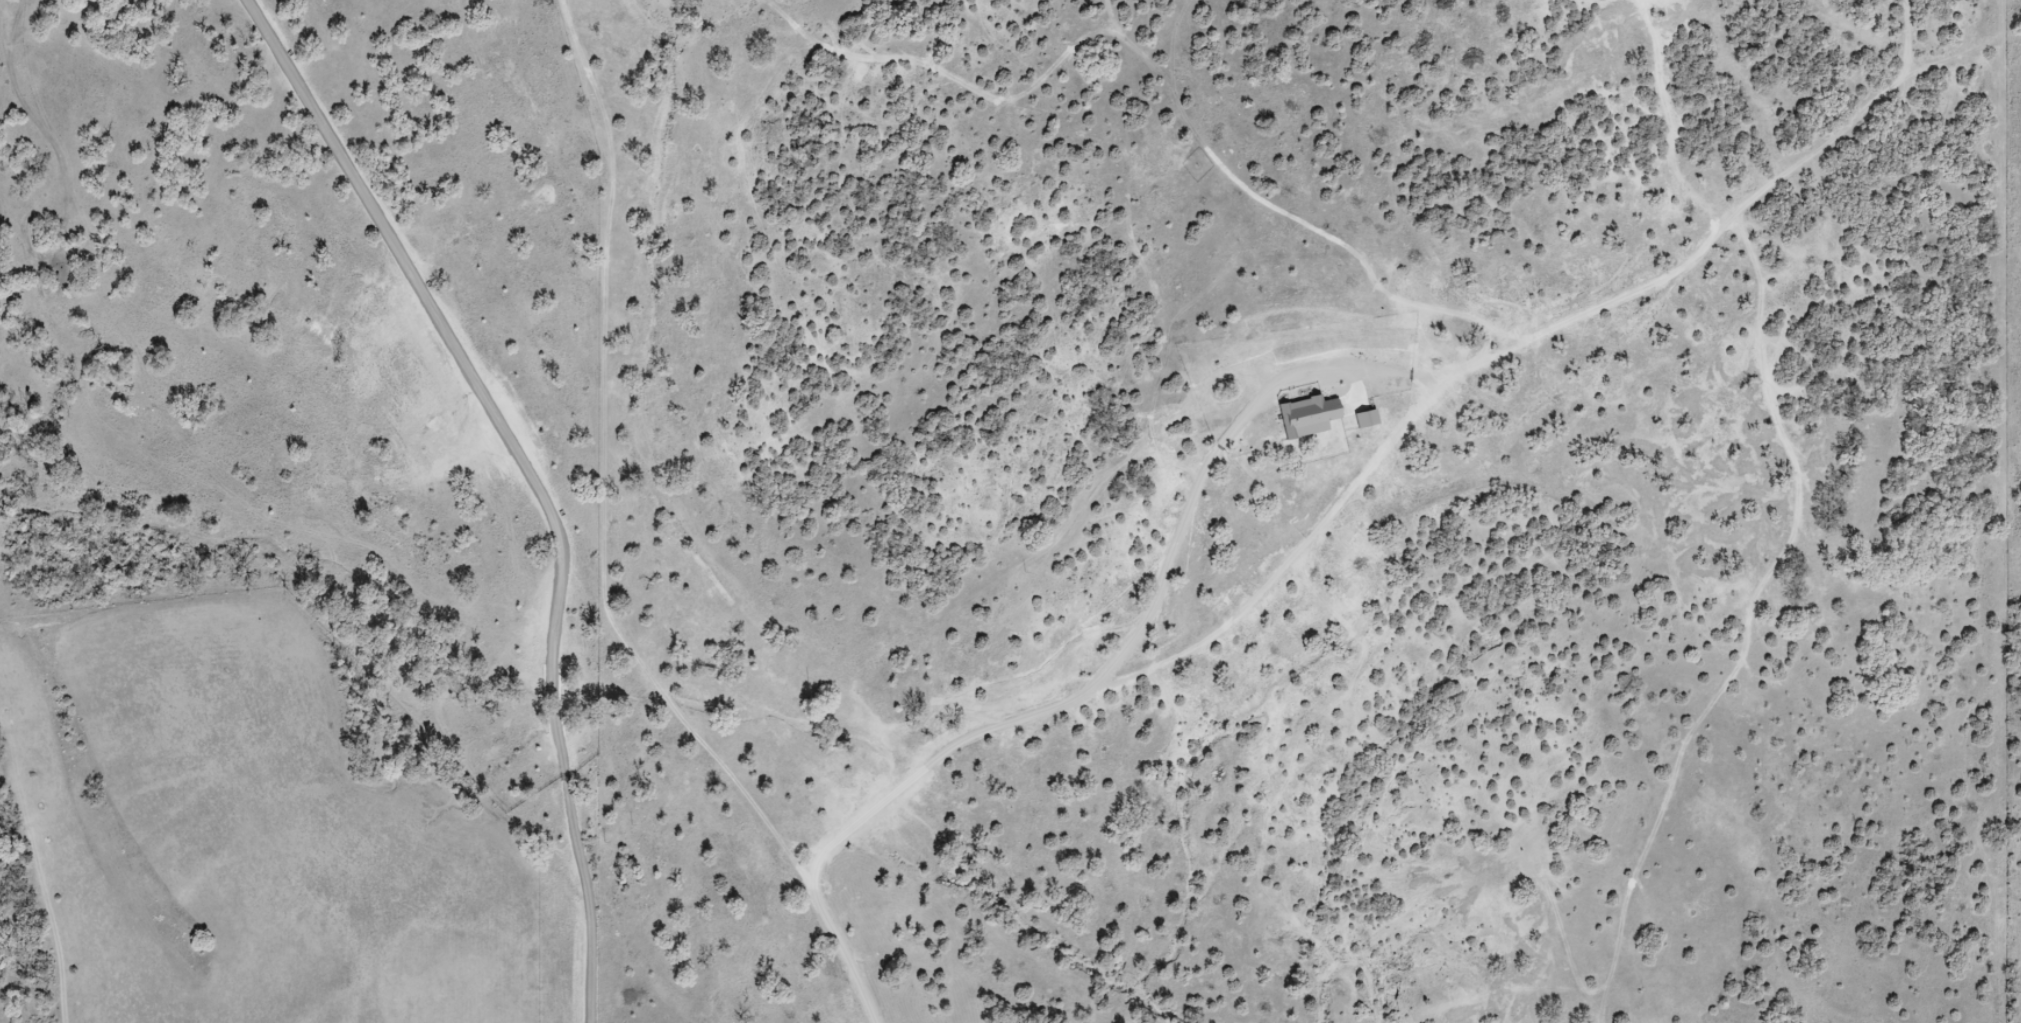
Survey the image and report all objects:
road: (580, 499)
road: (1065, 705)

